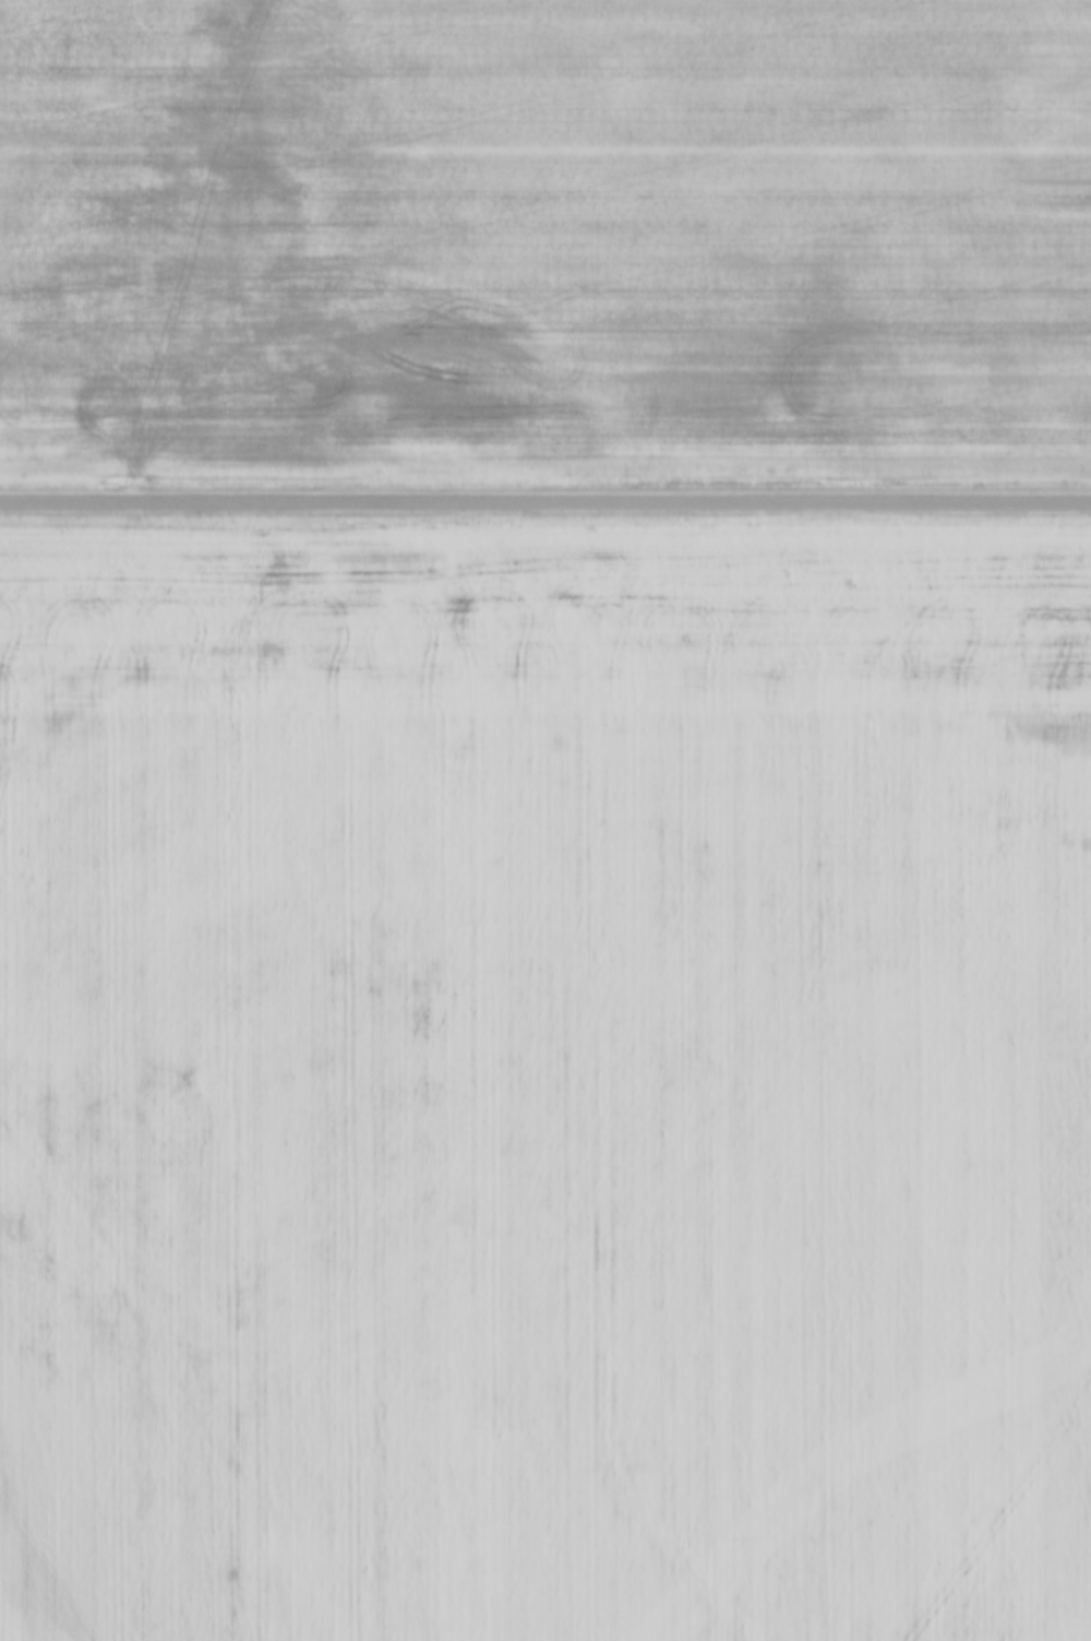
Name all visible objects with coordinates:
road: (544, 500)

